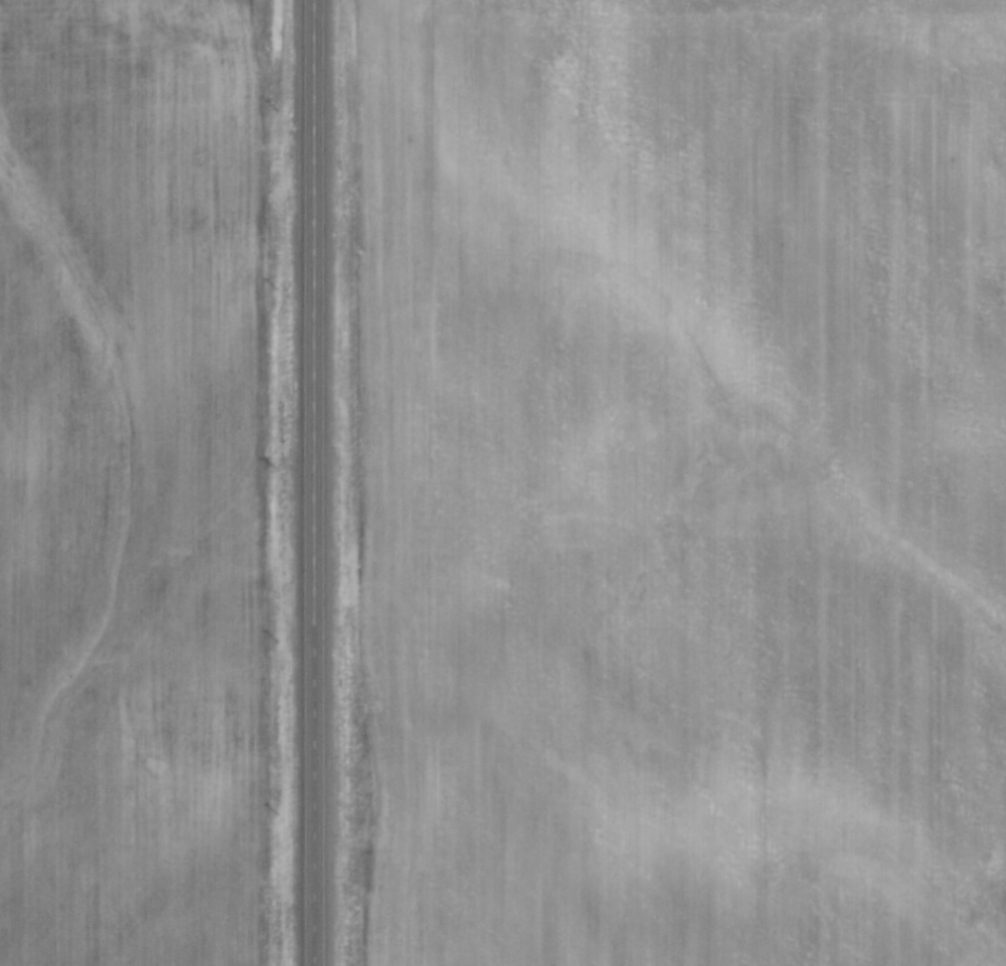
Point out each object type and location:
road: (317, 483)

